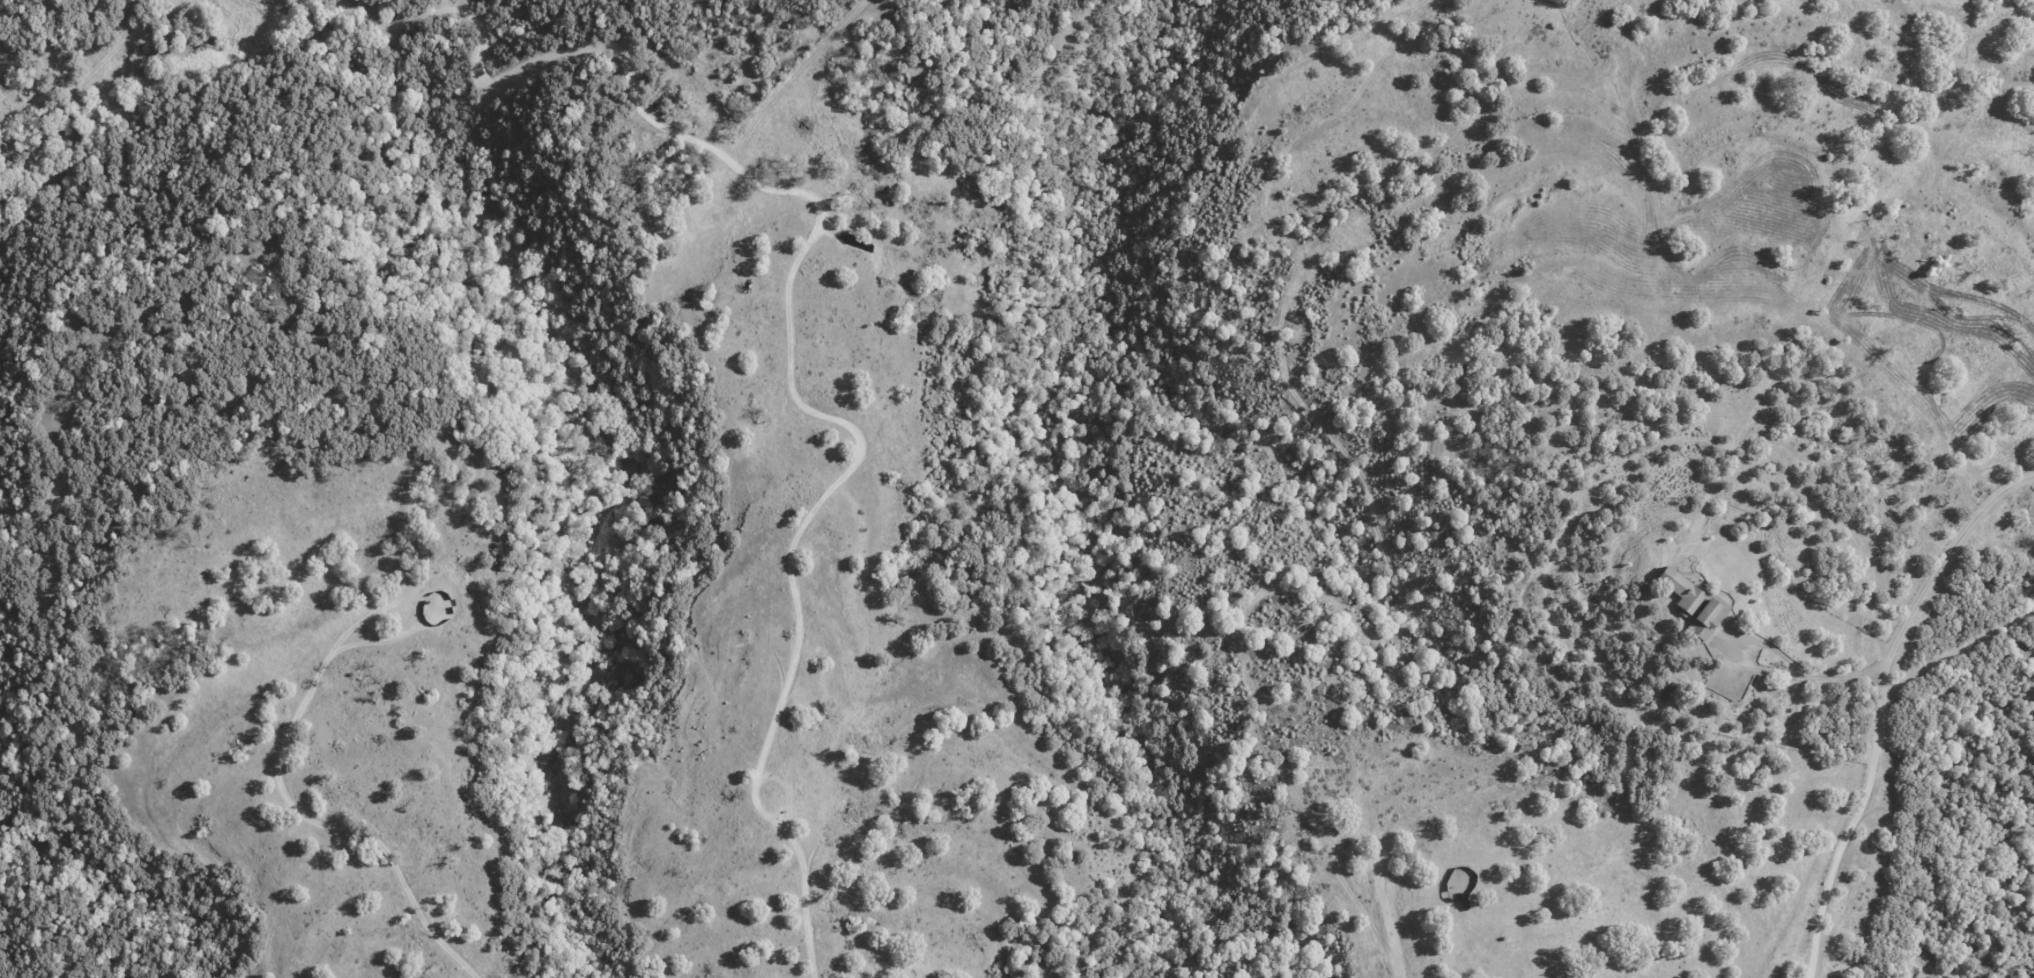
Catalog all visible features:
road: (101, 68)
road: (798, 321)
building: (1690, 603)
road: (1885, 710)

